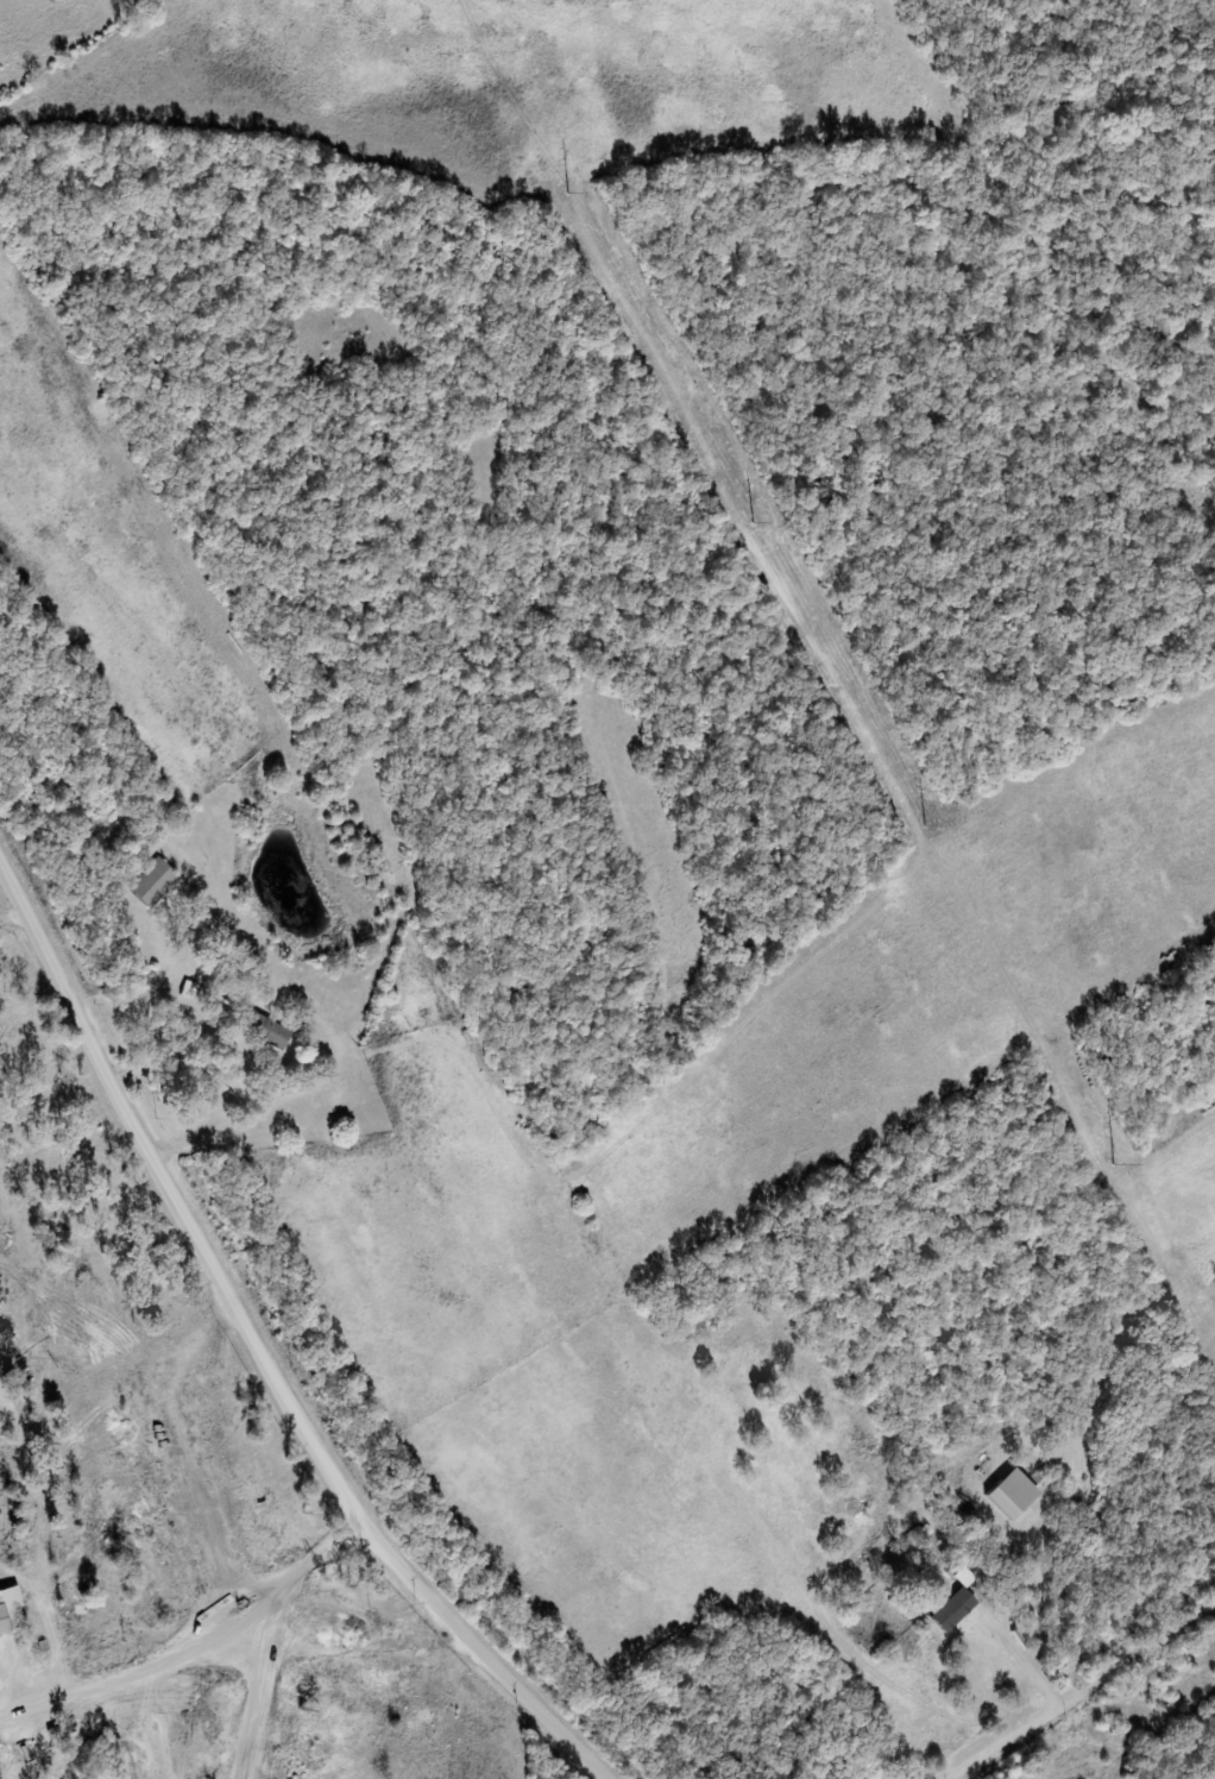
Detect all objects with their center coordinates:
power tower: (565, 193)
power tower: (751, 521)
power tower: (923, 824)
building: (152, 884)
power tower: (1113, 1163)
road: (262, 1349)
building: (1018, 1496)
building: (955, 1607)
building: (13, 1611)
road: (1106, 1711)

